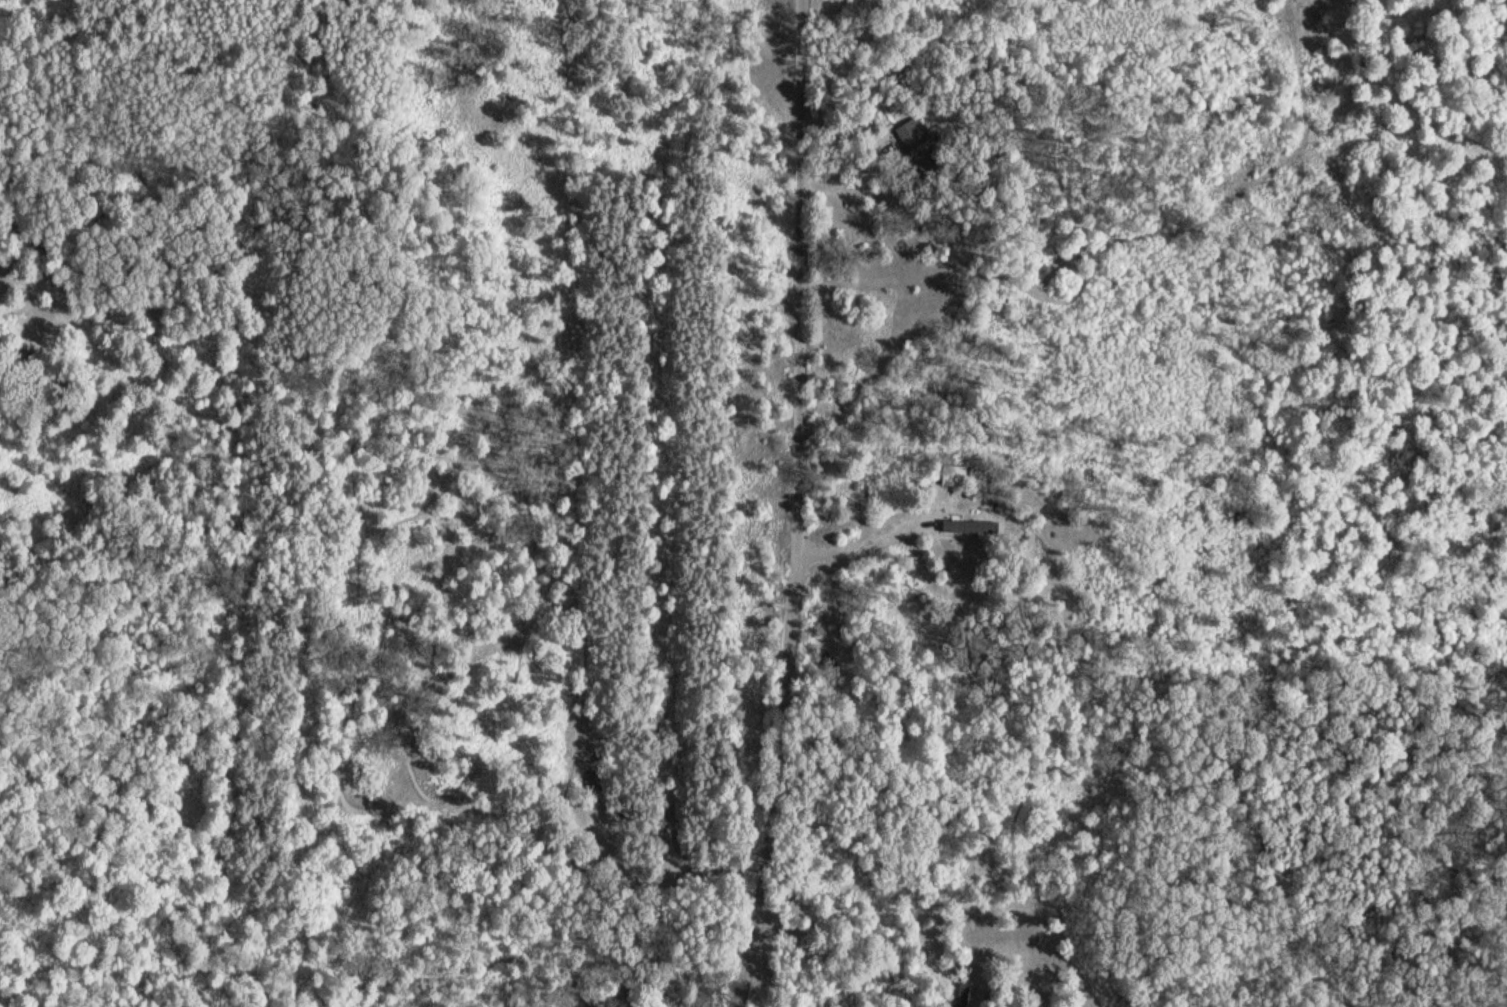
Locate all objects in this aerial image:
building: (919, 145)
building: (43, 248)
building: (954, 474)
road: (802, 505)
building: (962, 526)
road: (875, 531)
building: (595, 781)
building: (606, 872)
building: (959, 995)
building: (584, 997)

